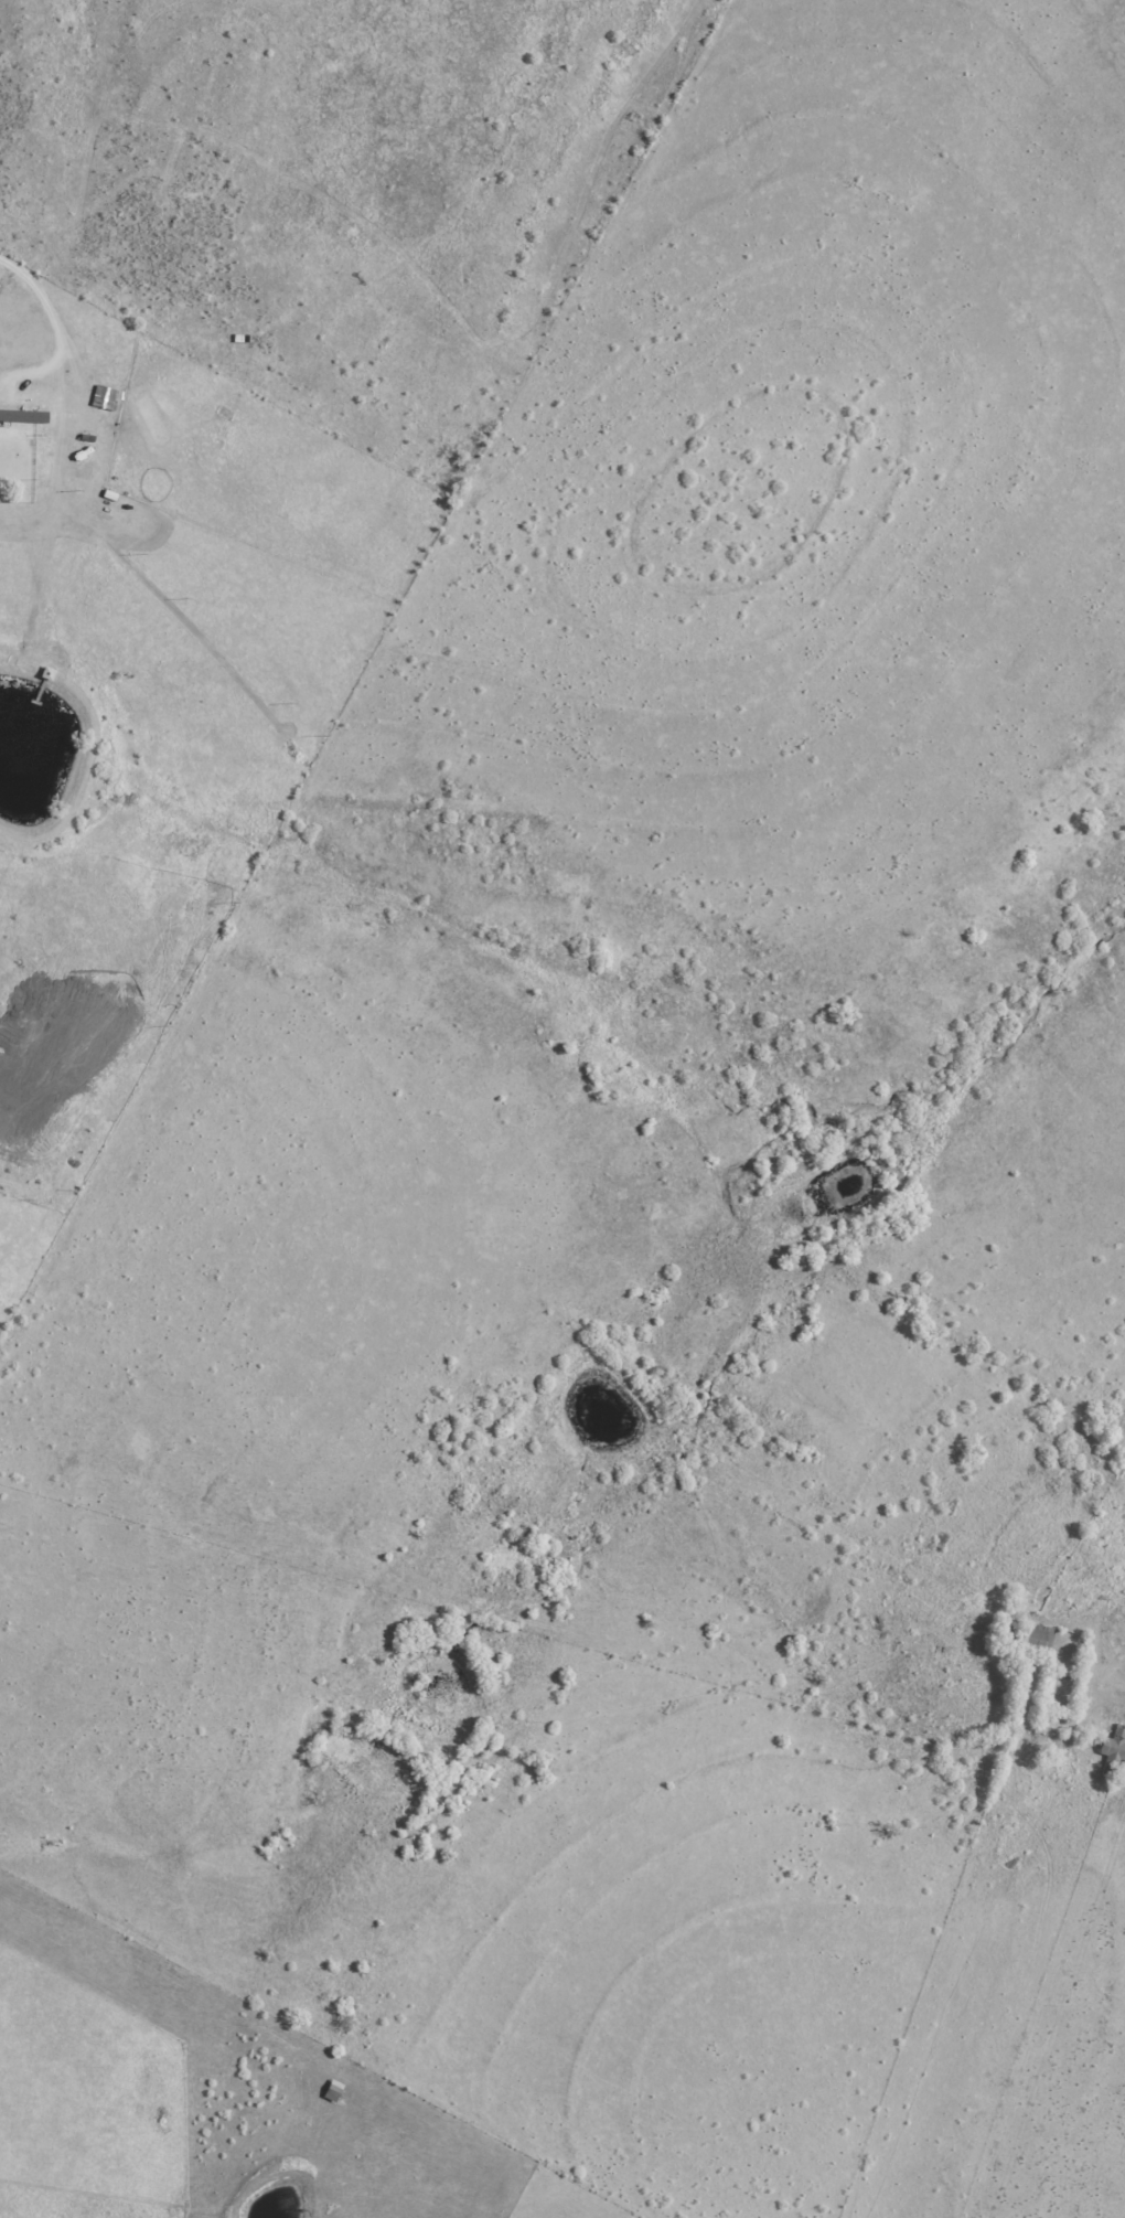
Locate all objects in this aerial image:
building: (6, 280)
road: (61, 331)
building: (24, 419)
building: (1025, 1638)
building: (1114, 1751)

